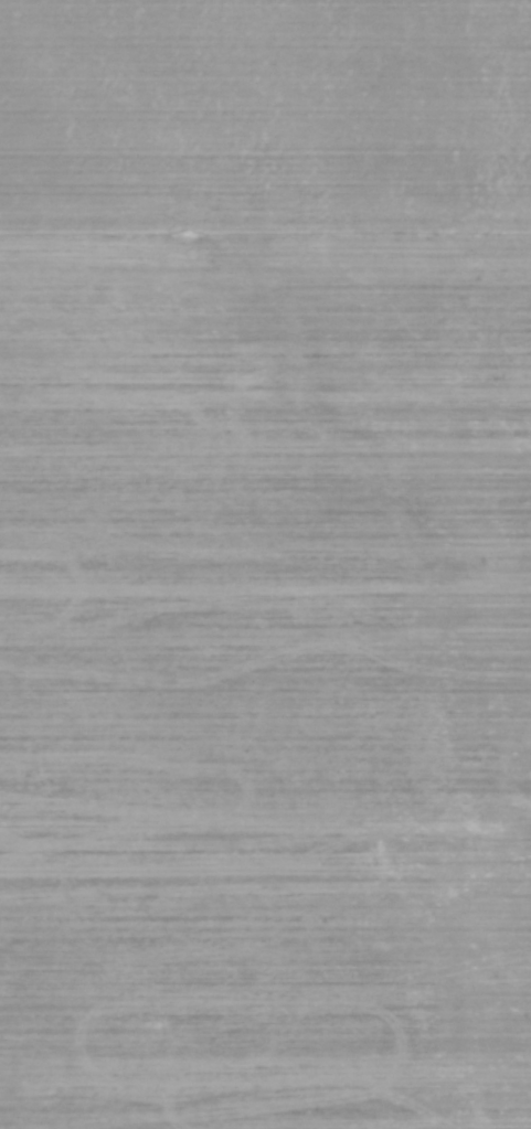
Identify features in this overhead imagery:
crop: (265, 564)

